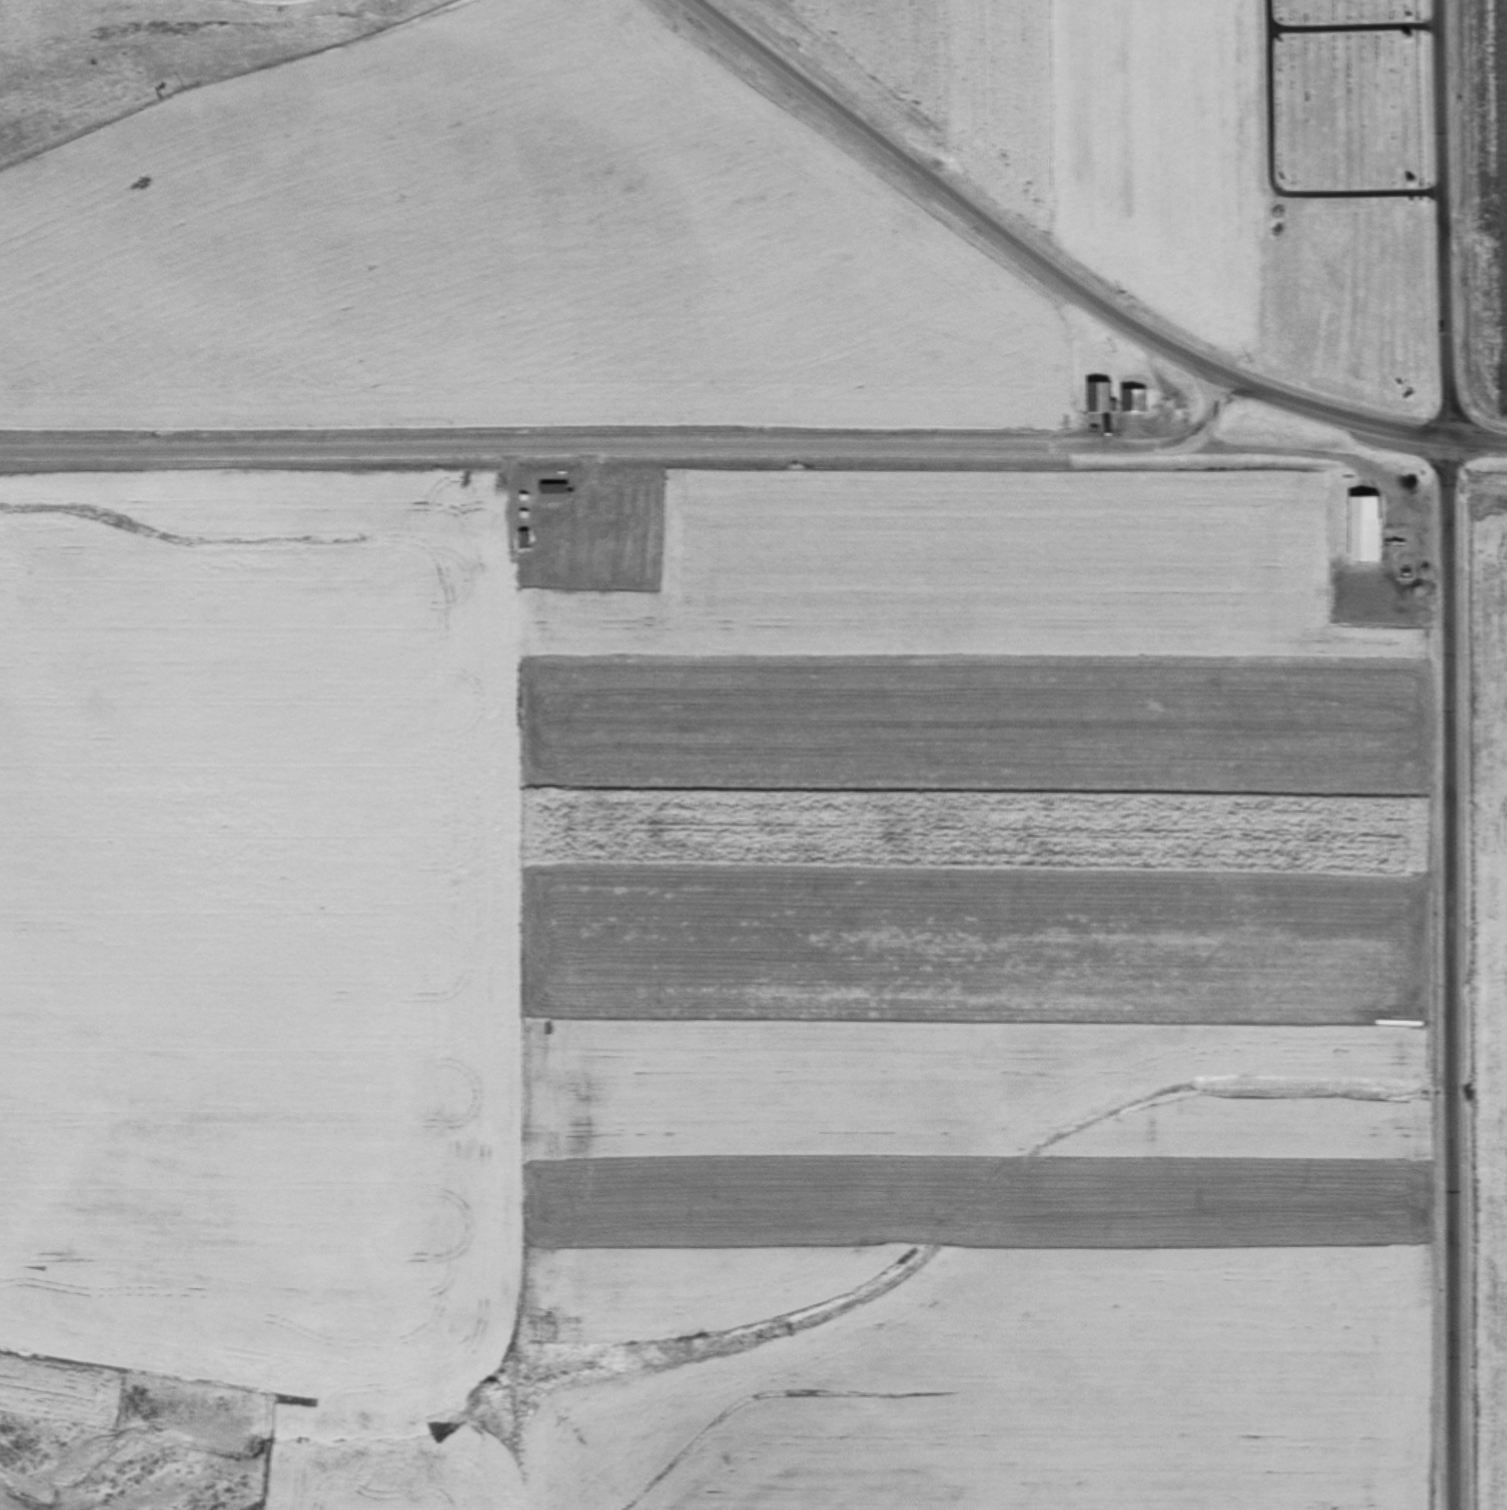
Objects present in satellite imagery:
park: (1346, 118)
road: (1049, 271)
building: (1107, 398)
building: (1141, 402)
road: (1480, 443)
road: (727, 450)
building: (559, 493)
building: (1375, 531)
building: (527, 540)
road: (1454, 754)

